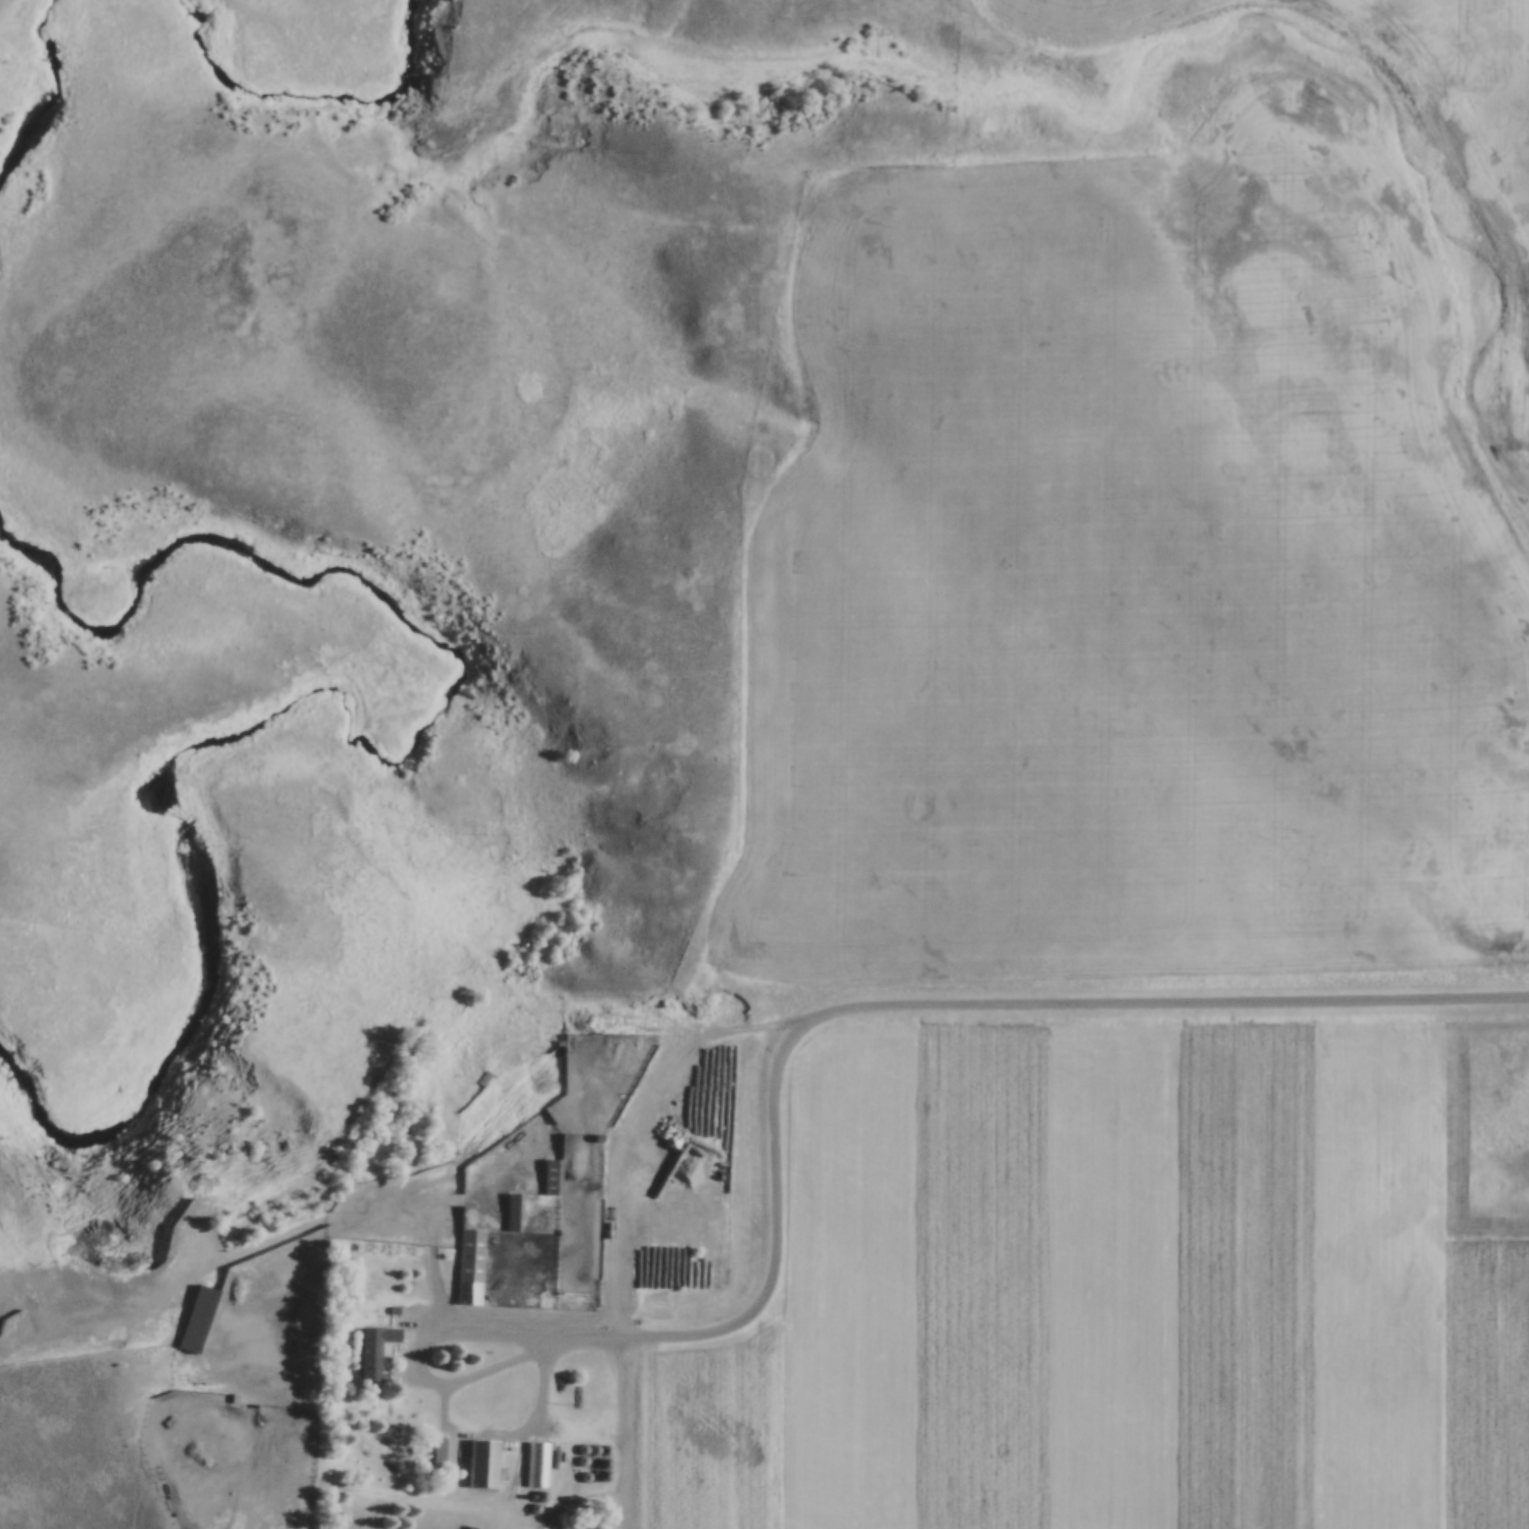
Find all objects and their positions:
road: (844, 1009)
building: (551, 1176)
building: (513, 1211)
building: (469, 1265)
building: (194, 1316)
building: (373, 1349)
building: (443, 1452)
building: (483, 1462)
building: (540, 1463)

